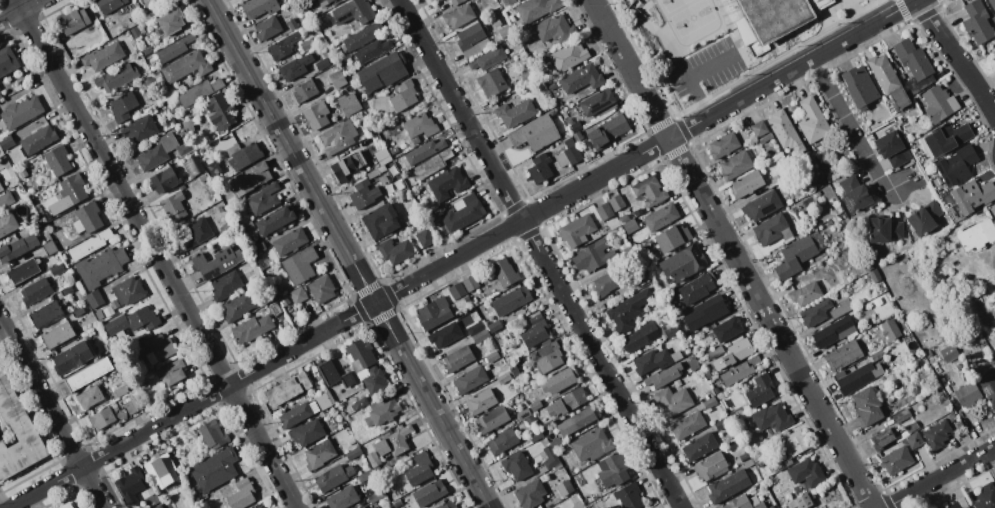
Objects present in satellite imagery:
building: (323, 2)
building: (505, 2)
building: (108, 4)
building: (992, 4)
building: (258, 7)
building: (535, 8)
road: (20, 11)
building: (352, 11)
building: (458, 14)
building: (777, 16)
park: (689, 20)
building: (72, 21)
building: (170, 21)
building: (976, 22)
building: (290, 23)
building: (266, 28)
road: (864, 29)
building: (504, 31)
building: (552, 31)
building: (361, 36)
building: (471, 39)
building: (305, 43)
building: (281, 45)
building: (173, 48)
building: (371, 50)
building: (146, 51)
road: (956, 54)
building: (102, 56)
building: (567, 56)
building: (994, 57)
building: (487, 58)
building: (7, 61)
building: (321, 64)
building: (913, 64)
building: (184, 66)
building: (293, 67)
parking lot: (706, 68)
building: (380, 71)
building: (526, 74)
road: (691, 75)
building: (115, 78)
building: (579, 78)
building: (336, 79)
building: (887, 80)
building: (491, 83)
building: (858, 87)
building: (303, 91)
building: (198, 92)
building: (403, 96)
building: (0, 97)
building: (596, 101)
building: (347, 103)
building: (937, 103)
building: (122, 107)
building: (20, 111)
building: (218, 111)
building: (513, 112)
building: (315, 115)
building: (810, 120)
building: (419, 125)
building: (186, 126)
building: (574, 126)
road: (851, 126)
building: (758, 128)
building: (138, 131)
building: (606, 131)
building: (784, 131)
building: (534, 132)
building: (576, 136)
building: (337, 137)
building: (944, 139)
building: (36, 140)
building: (6, 141)
building: (722, 145)
building: (185, 148)
building: (891, 149)
building: (423, 151)
building: (156, 152)
building: (571, 152)
building: (381, 156)
building: (242, 157)
building: (56, 160)
building: (431, 163)
building: (347, 165)
building: (735, 165)
building: (955, 165)
building: (539, 167)
building: (212, 168)
building: (249, 177)
building: (163, 180)
building: (382, 180)
building: (446, 183)
building: (745, 184)
building: (0, 188)
building: (649, 191)
building: (68, 193)
building: (362, 194)
building: (853, 194)
building: (971, 196)
building: (262, 198)
building: (5, 200)
building: (615, 203)
building: (761, 205)
building: (172, 206)
building: (603, 211)
building: (461, 212)
building: (660, 217)
building: (86, 218)
building: (622, 218)
building: (923, 218)
building: (274, 220)
building: (380, 221)
building: (7, 223)
building: (629, 226)
building: (226, 228)
building: (576, 230)
building: (772, 230)
building: (882, 230)
building: (197, 232)
building: (976, 235)
building: (424, 237)
building: (671, 237)
building: (289, 241)
building: (89, 244)
building: (17, 247)
building: (48, 247)
building: (394, 251)
road: (157, 253)
road: (541, 253)
road: (733, 253)
road: (349, 254)
building: (592, 256)
building: (794, 256)
building: (215, 262)
building: (682, 263)
building: (298, 265)
building: (100, 266)
building: (55, 270)
building: (22, 271)
building: (503, 272)
building: (641, 278)
road: (411, 282)
building: (470, 283)
building: (604, 283)
building: (224, 285)
building: (320, 288)
building: (696, 288)
building: (34, 290)
building: (64, 290)
building: (126, 291)
building: (456, 291)
building: (805, 293)
building: (296, 295)
building: (93, 299)
building: (510, 300)
building: (236, 306)
building: (627, 310)
building: (76, 312)
building: (704, 312)
building: (44, 313)
building: (433, 313)
building: (814, 313)
building: (131, 321)
building: (493, 326)
building: (250, 328)
building: (474, 328)
building: (726, 328)
building: (889, 329)
building: (670, 330)
building: (534, 331)
building: (832, 331)
building: (443, 334)
building: (56, 335)
building: (479, 336)
building: (639, 337)
building: (993, 345)
building: (159, 348)
building: (714, 352)
building: (359, 354)
building: (732, 354)
building: (948, 354)
building: (842, 355)
building: (876, 355)
building: (71, 357)
building: (546, 357)
building: (457, 359)
building: (651, 361)
building: (514, 371)
building: (738, 371)
building: (170, 372)
building: (332, 373)
building: (87, 374)
building: (662, 376)
building: (502, 377)
building: (857, 377)
building: (469, 379)
building: (372, 380)
building: (557, 382)
building: (286, 389)
building: (988, 389)
building: (759, 390)
building: (119, 391)
building: (967, 396)
building: (88, 397)
building: (671, 401)
building: (479, 402)
building: (566, 402)
building: (708, 402)
building: (135, 403)
building: (357, 403)
building: (534, 405)
building: (866, 406)
building: (128, 407)
building: (306, 409)
road: (52, 412)
building: (380, 412)
building: (521, 414)
building: (900, 416)
building: (771, 417)
building: (101, 418)
building: (491, 419)
building: (575, 421)
building: (546, 424)
building: (686, 425)
building: (721, 425)
building: (532, 429)
building: (16, 431)
building: (306, 432)
building: (212, 434)
building: (936, 434)
building: (881, 438)
building: (913, 440)
building: (392, 442)
building: (501, 442)
building: (555, 442)
building: (787, 442)
building: (590, 445)
building: (698, 446)
building: (352, 453)
building: (318, 454)
building: (549, 457)
building: (372, 459)
building: (895, 460)
building: (516, 465)
building: (709, 467)
building: (213, 469)
building: (418, 469)
building: (611, 470)
building: (160, 471)
building: (805, 472)
building: (364, 475)
building: (332, 476)
road: (940, 477)
building: (130, 484)
building: (727, 486)
building: (564, 487)
building: (429, 493)
building: (240, 494)
building: (529, 494)
building: (376, 496)
building: (628, 496)
building: (984, 496)
building: (342, 498)
building: (754, 500)
building: (802, 501)
building: (739, 503)
building: (449, 504)
building: (958, 504)
road: (1, 505)
building: (66, 505)
building: (761, 505)
building: (159, 506)
building: (259, 506)
building: (362, 507)
building: (375, 507)

